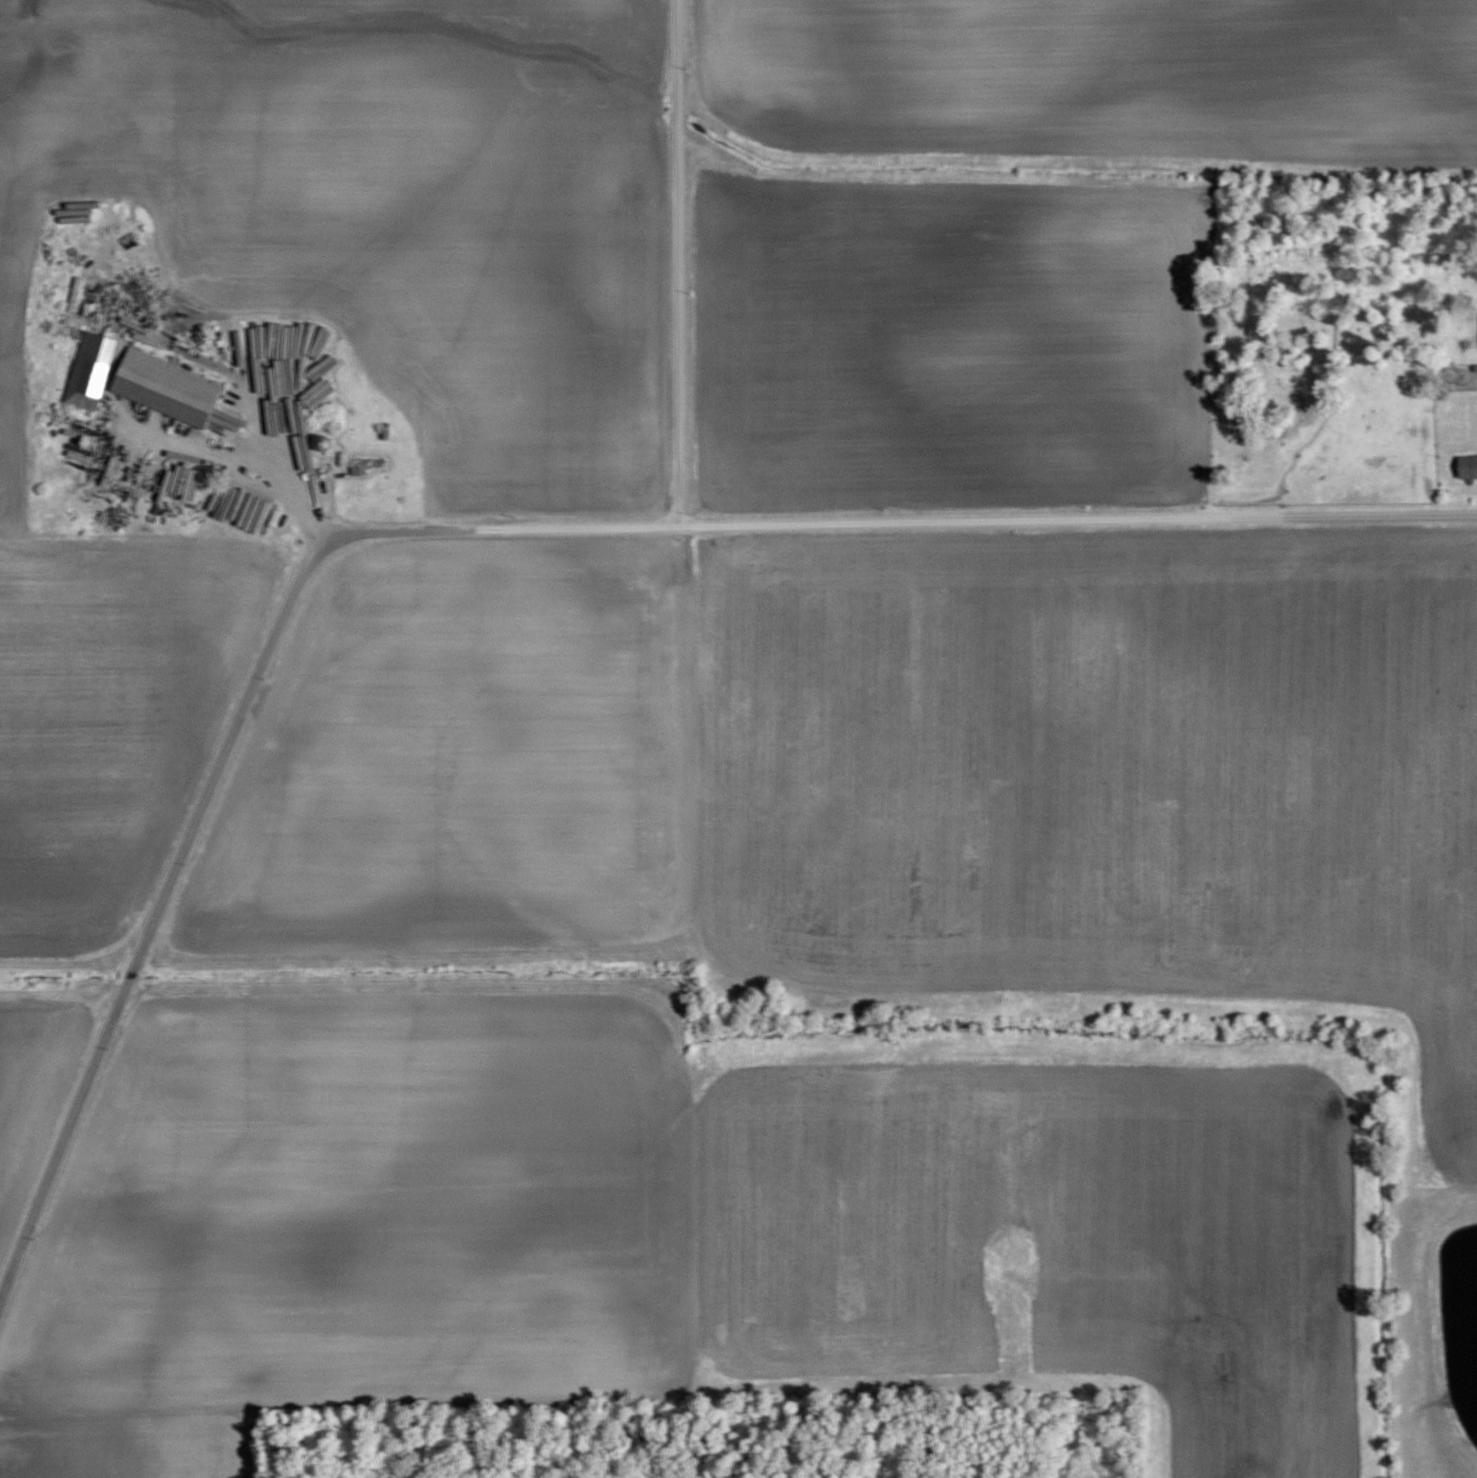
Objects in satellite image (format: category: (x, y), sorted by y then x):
road: (676, 263)
building: (92, 369)
building: (169, 385)
building: (367, 462)
building: (1467, 464)
building: (102, 497)
road: (1079, 518)
road: (224, 759)

